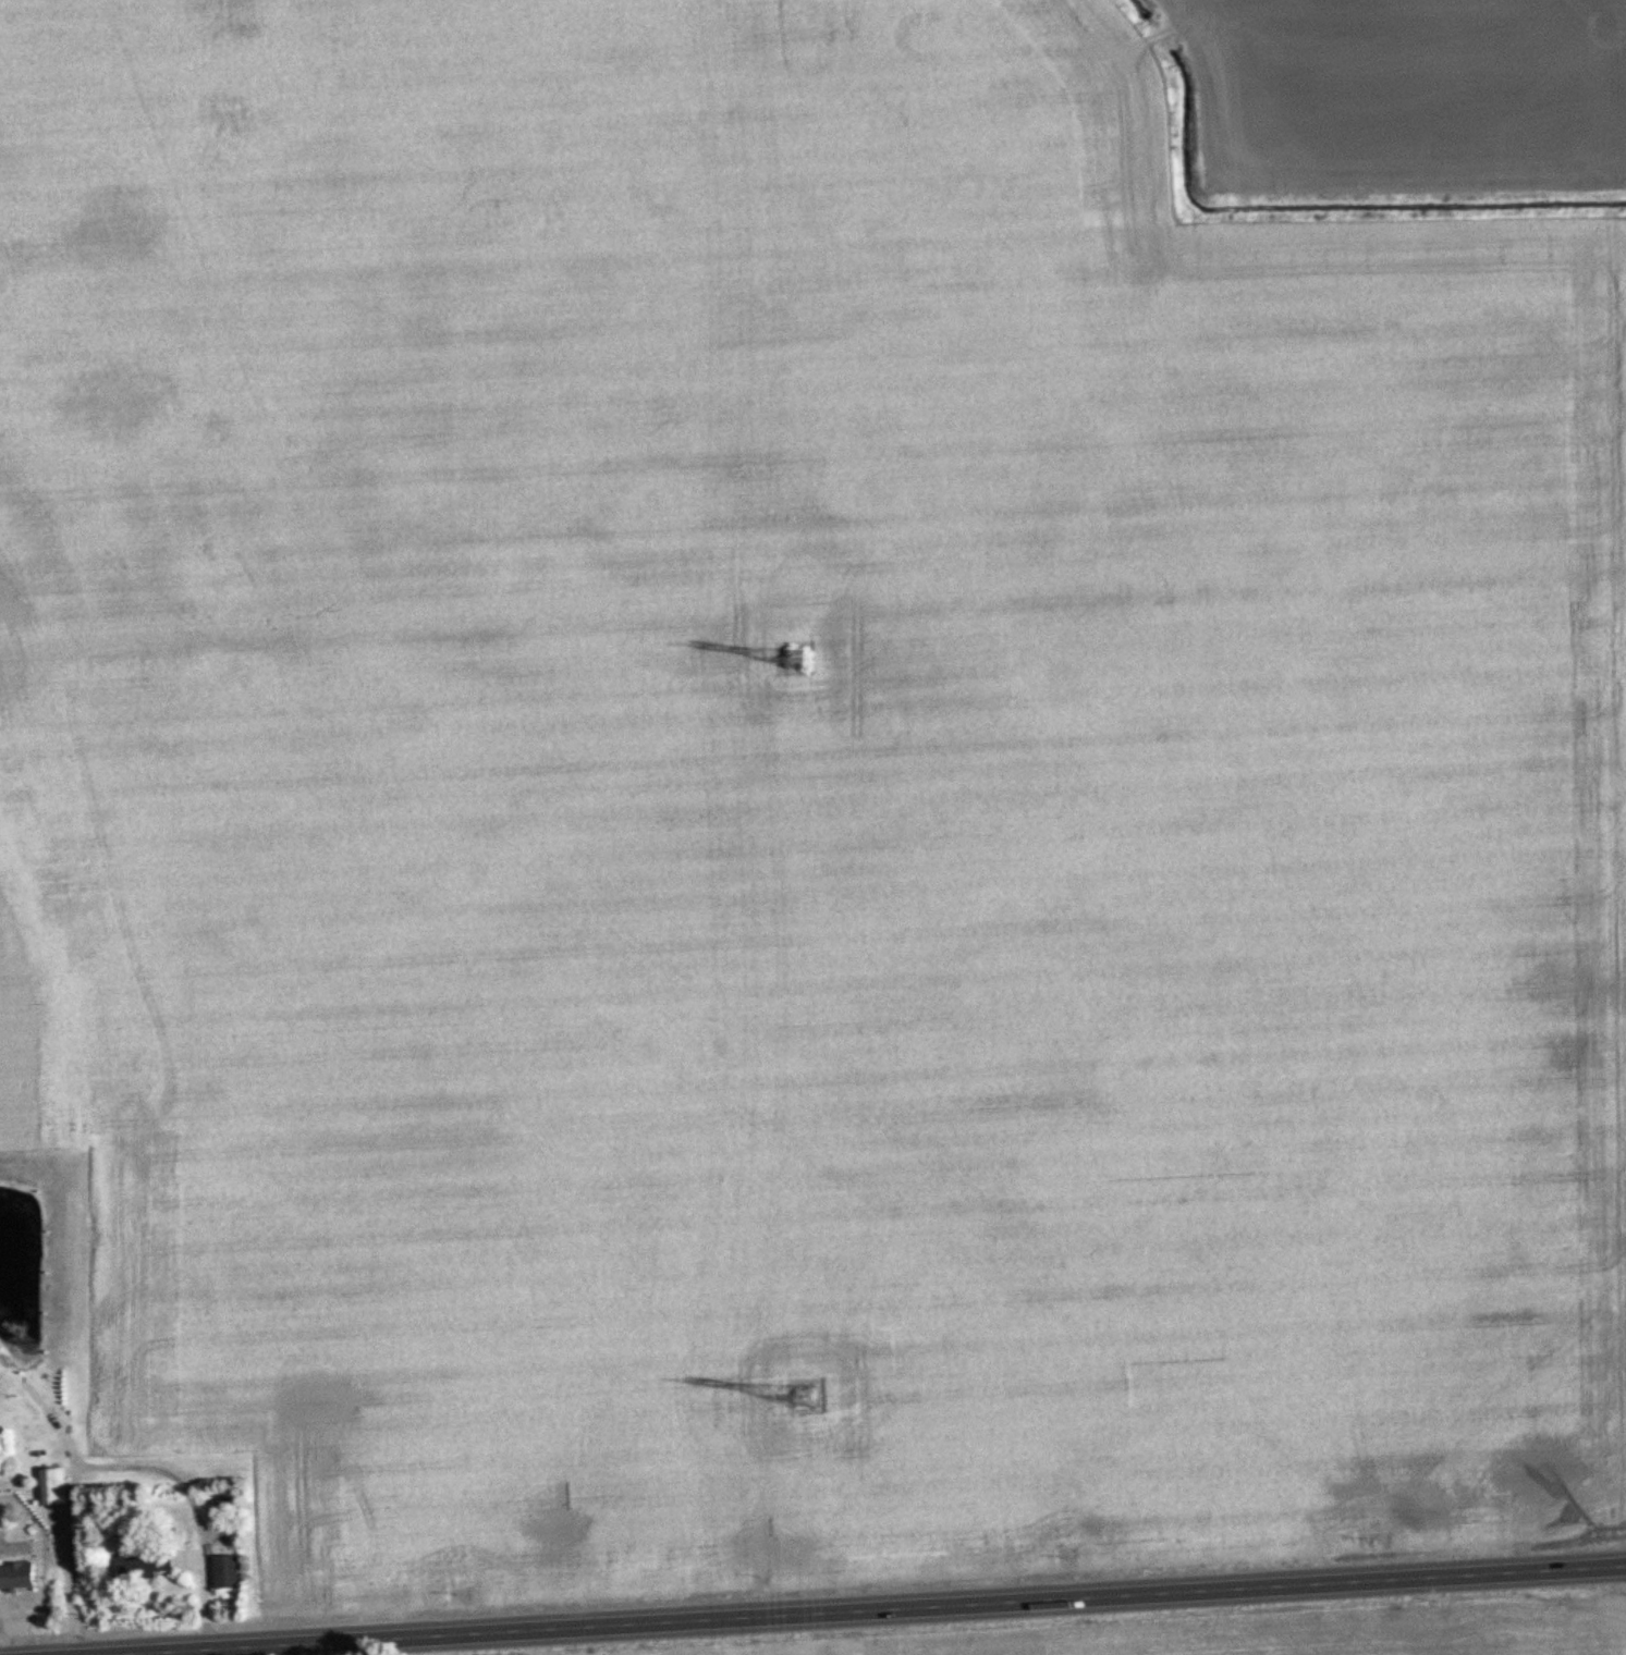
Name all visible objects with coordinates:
power tower: (799, 659)
power tower: (806, 1397)
building: (51, 1485)
building: (147, 1564)
building: (229, 1571)
building: (20, 1574)
road: (880, 1611)
road: (155, 1654)

